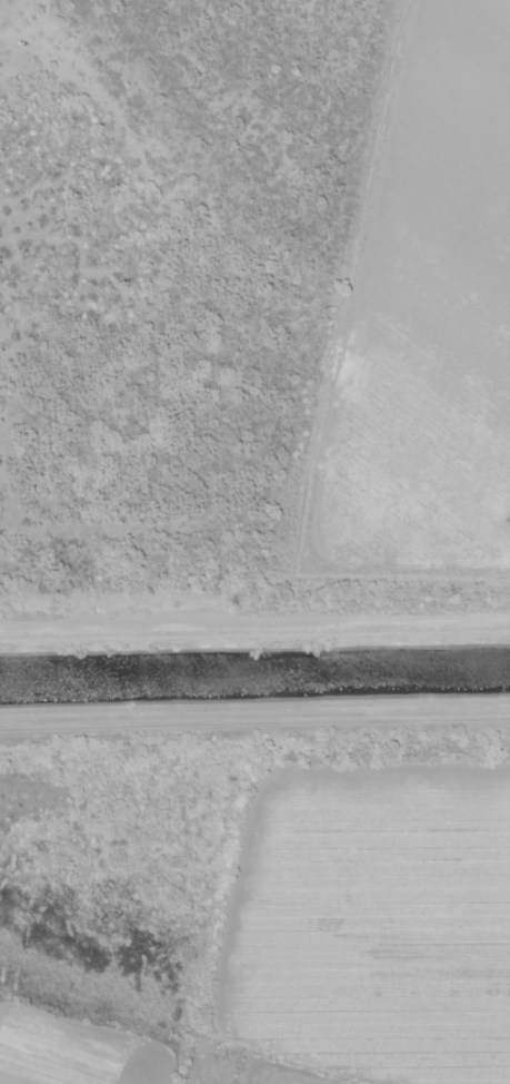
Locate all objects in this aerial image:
road: (254, 617)
road: (254, 723)

